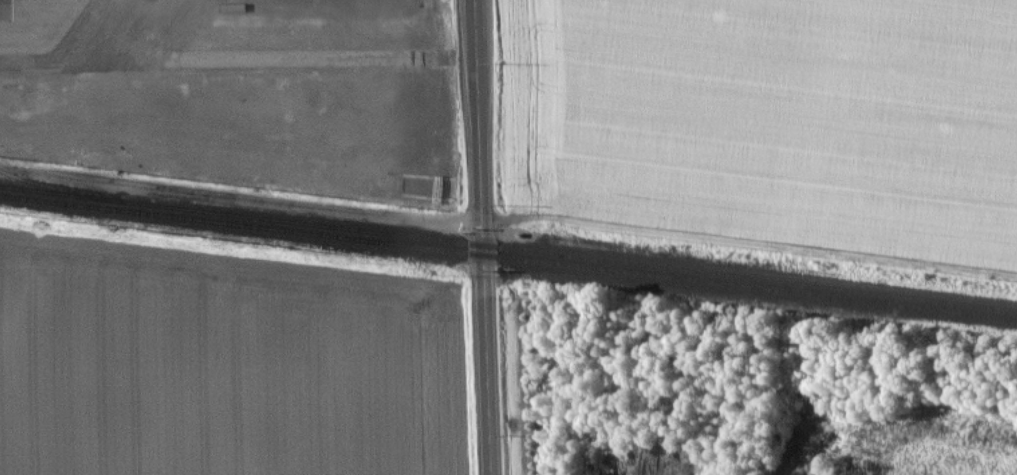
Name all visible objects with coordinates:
building: (5, 9)
railway: (62, 188)
road: (240, 197)
road: (482, 237)
railway: (508, 248)
railway: (508, 257)

